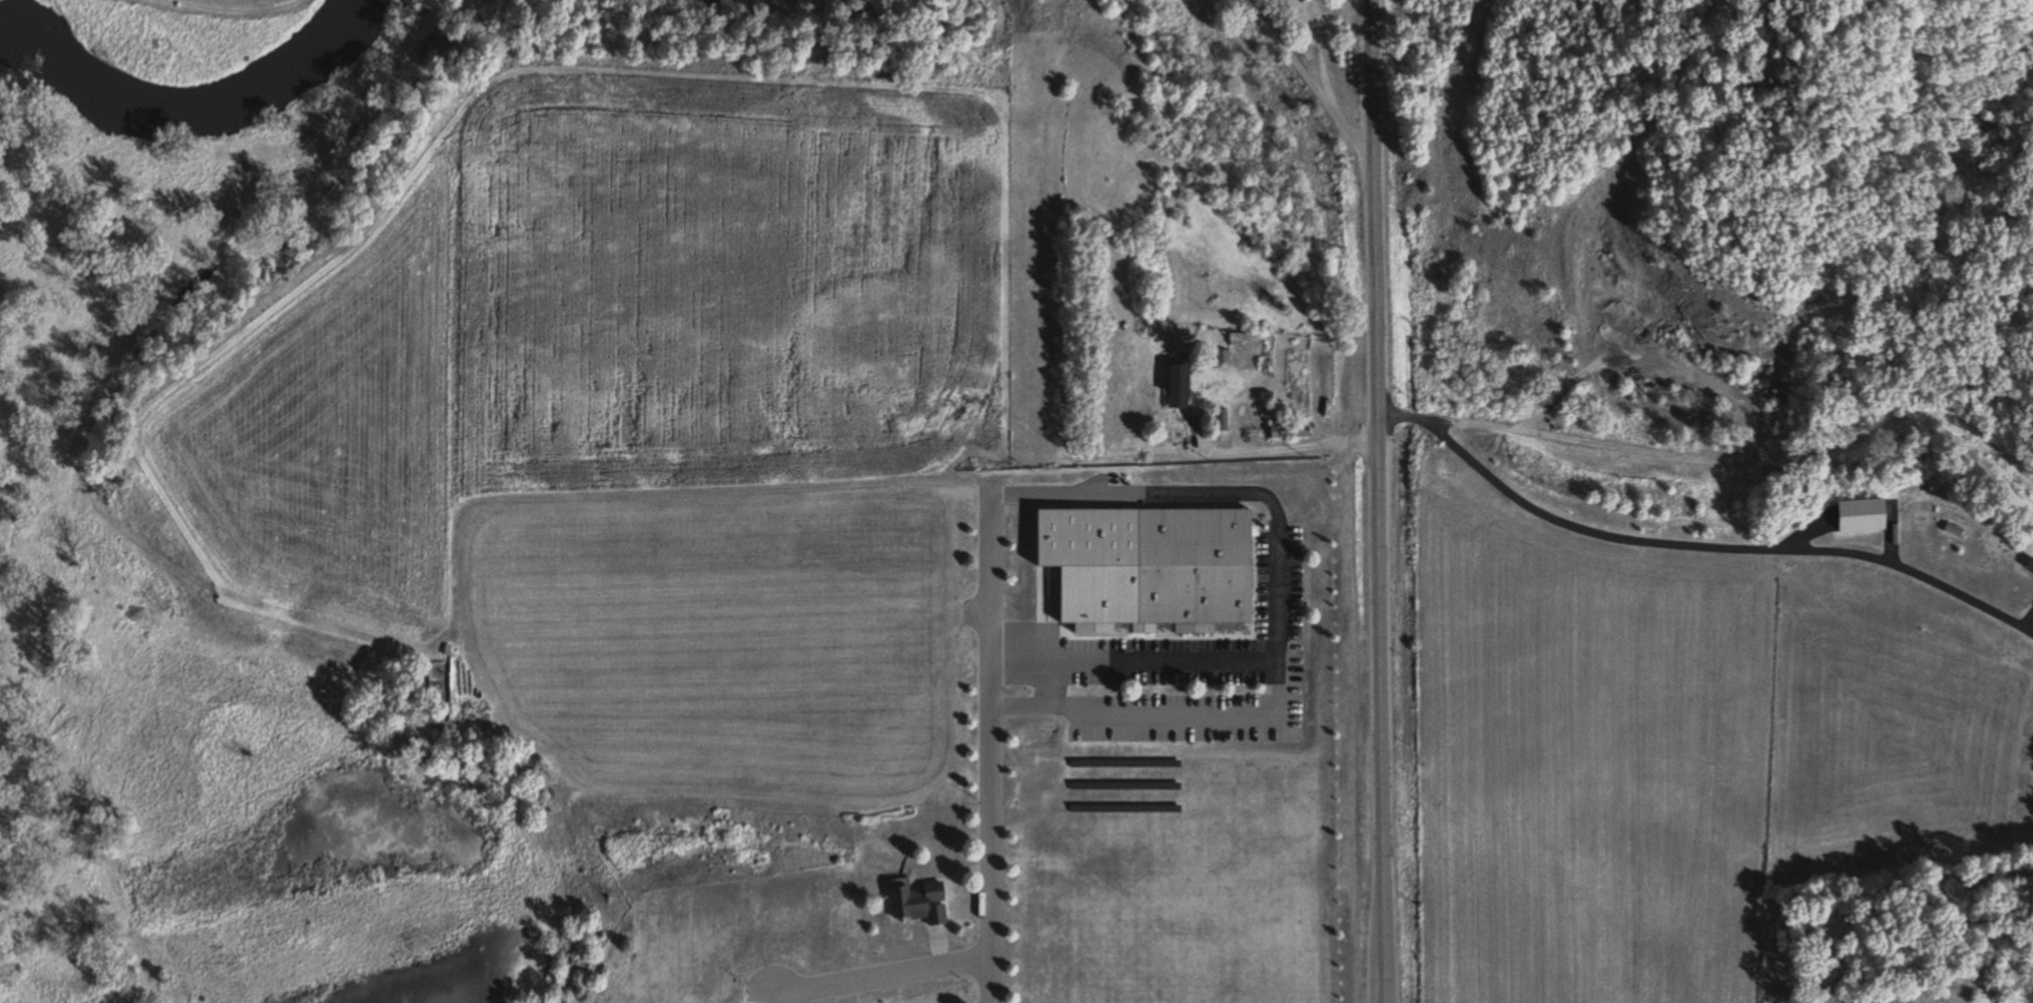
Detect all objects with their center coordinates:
road: (1318, 60)
road: (1310, 87)
river: (189, 107)
crop: (625, 286)
building: (1220, 357)
building: (1241, 361)
building: (1175, 380)
building: (1296, 384)
building: (983, 408)
building: (909, 413)
building: (877, 419)
building: (1274, 419)
building: (1218, 421)
road: (1238, 496)
road: (1380, 501)
building: (1947, 531)
road: (1696, 546)
building: (2028, 568)
building: (1190, 570)
road: (1048, 619)
road: (989, 748)
building: (914, 902)
road: (882, 978)

